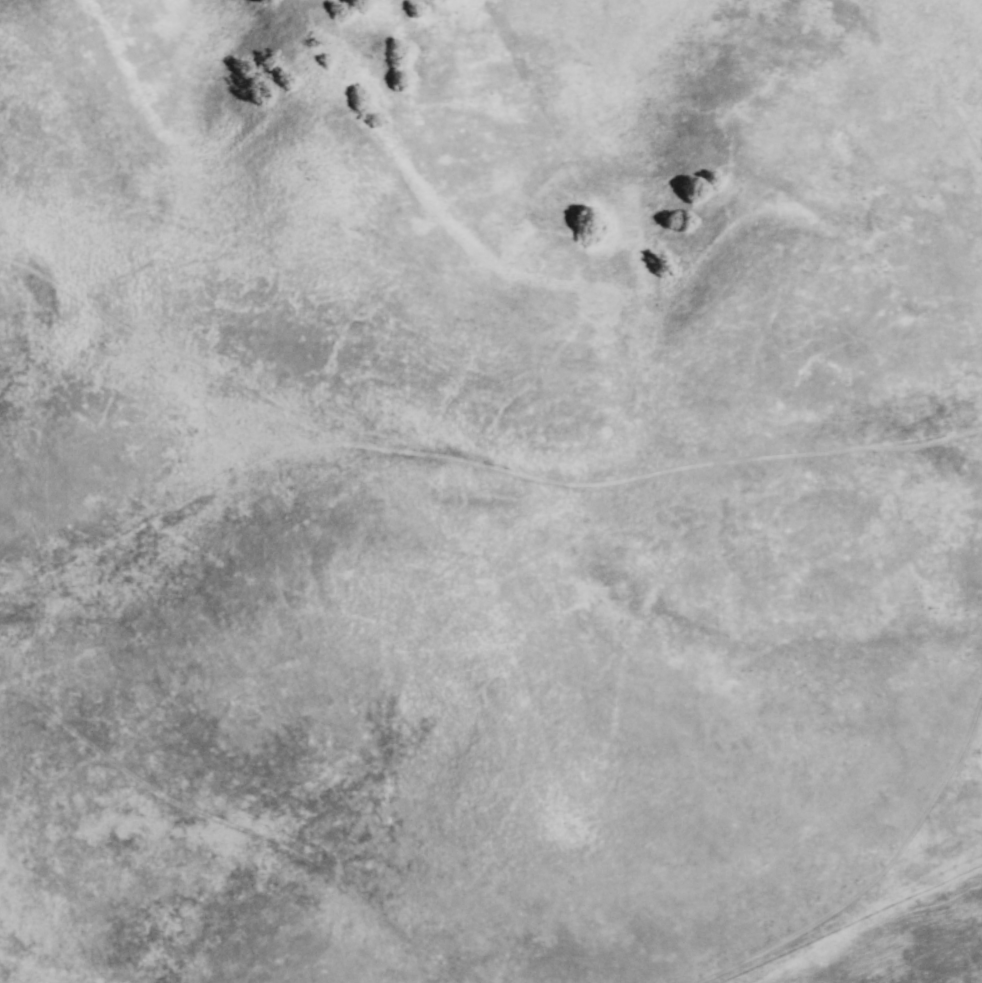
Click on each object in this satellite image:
road: (889, 865)

